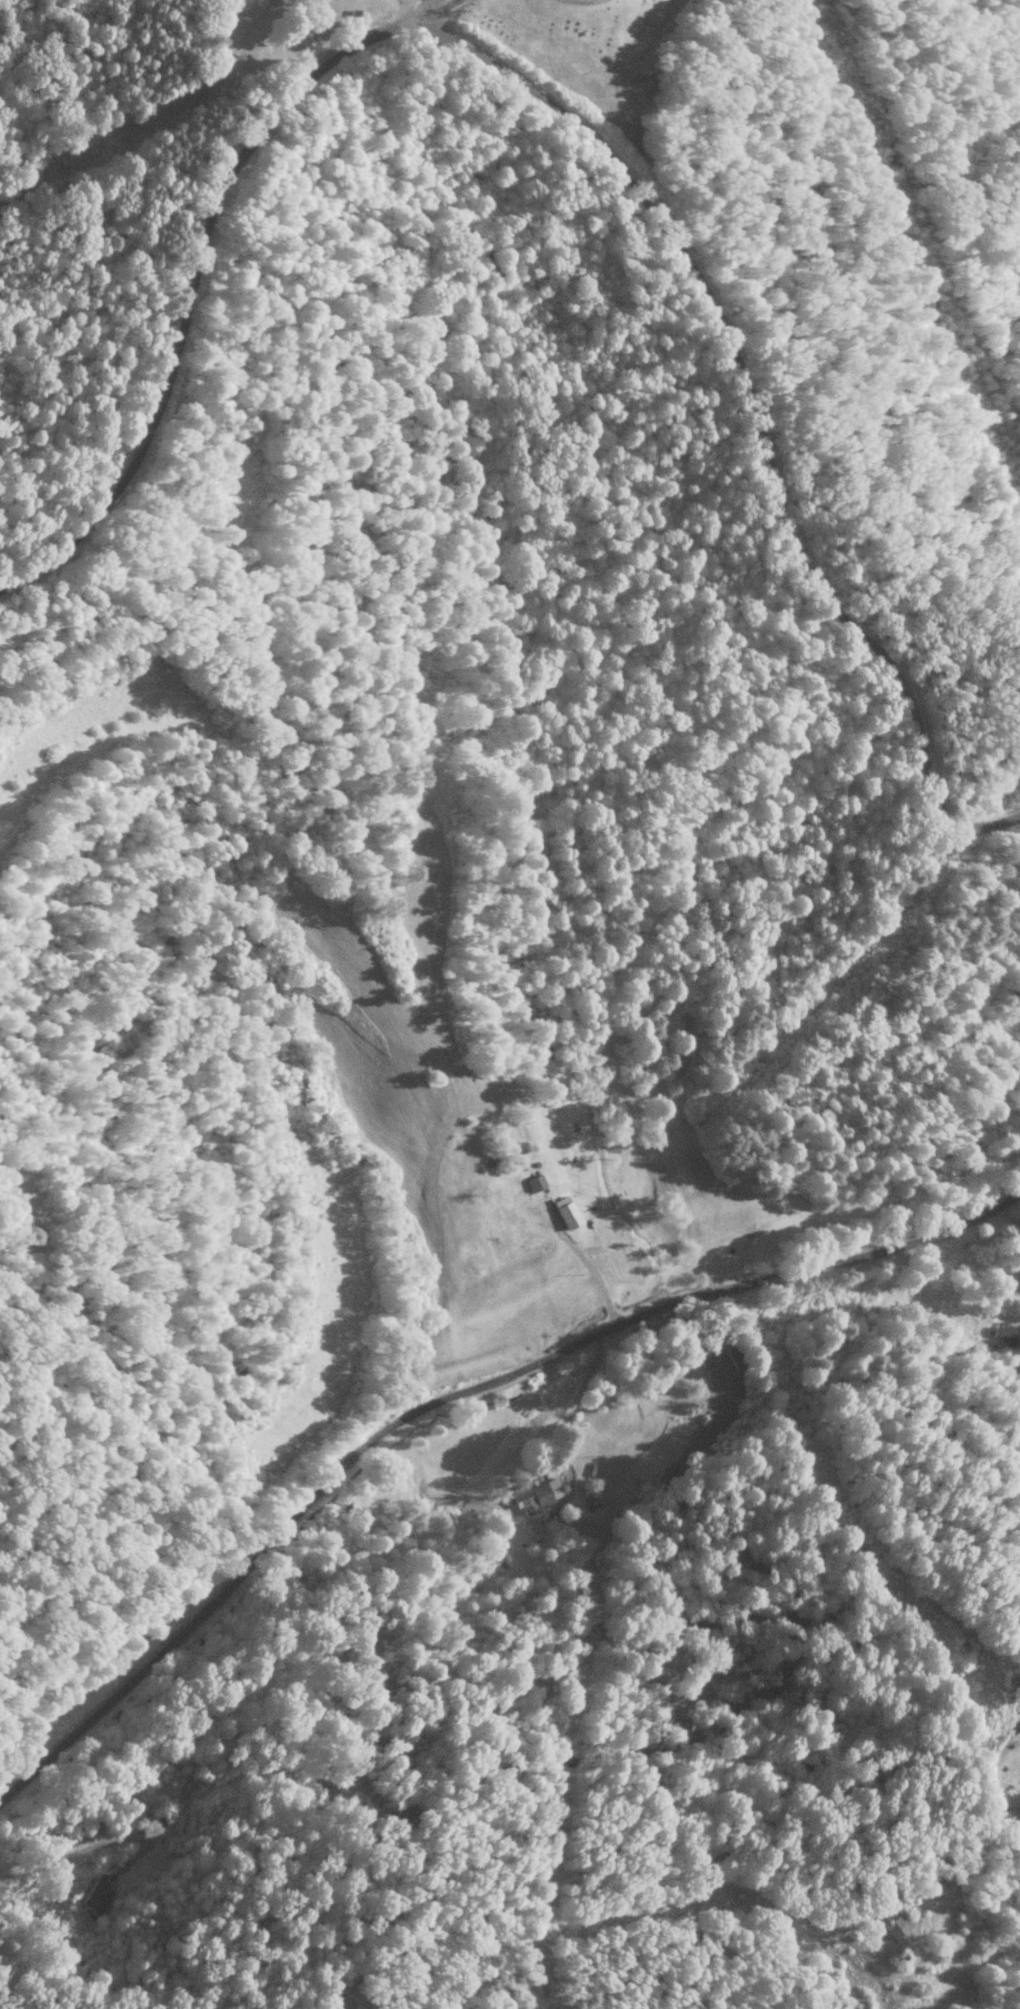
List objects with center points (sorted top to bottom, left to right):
road: (417, 11)
road: (438, 11)
park: (608, 52)
road: (199, 320)
road: (757, 418)
building: (570, 1217)
building: (539, 1247)
road: (453, 1438)
building: (534, 1500)
building: (97, 1898)

